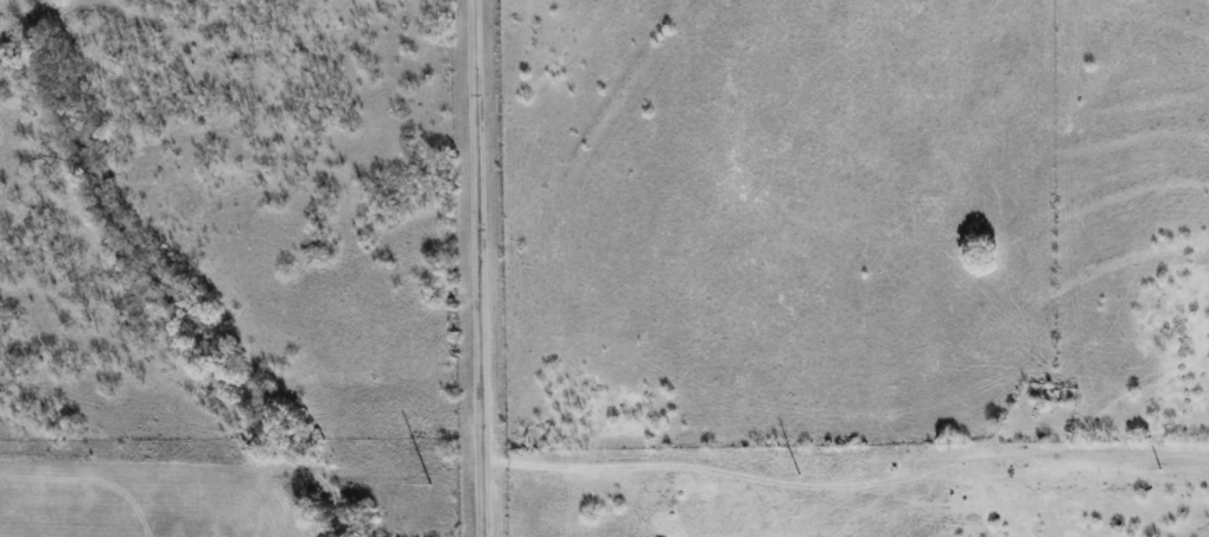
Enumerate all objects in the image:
road: (479, 268)
power tower: (1158, 471)
power tower: (798, 477)
power tower: (431, 485)

